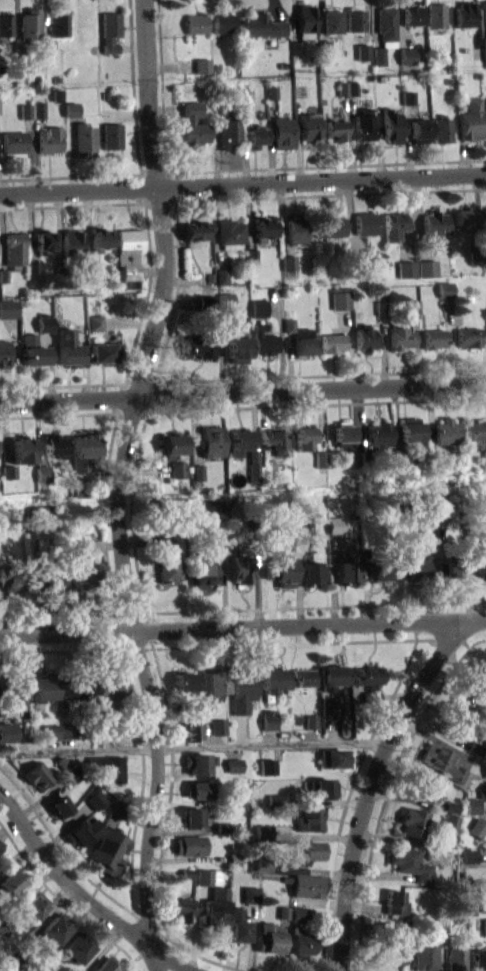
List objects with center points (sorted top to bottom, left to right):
building: (412, 14)
building: (437, 14)
building: (465, 14)
building: (355, 19)
building: (305, 20)
building: (223, 22)
building: (333, 22)
building: (6, 23)
building: (195, 23)
building: (30, 24)
building: (59, 24)
building: (261, 25)
building: (387, 26)
building: (484, 26)
building: (110, 30)
building: (325, 46)
building: (296, 47)
building: (363, 51)
building: (379, 55)
building: (407, 55)
building: (448, 56)
building: (201, 64)
building: (232, 70)
building: (202, 71)
building: (25, 74)
building: (25, 81)
road: (161, 85)
building: (352, 87)
building: (343, 88)
building: (271, 91)
building: (57, 94)
building: (347, 94)
building: (104, 95)
building: (407, 96)
road: (133, 100)
building: (408, 104)
building: (37, 108)
building: (70, 108)
building: (24, 110)
building: (471, 119)
building: (364, 124)
building: (193, 125)
building: (392, 125)
building: (309, 127)
building: (442, 128)
building: (336, 129)
building: (419, 130)
building: (282, 132)
building: (229, 134)
building: (111, 135)
building: (254, 137)
building: (82, 138)
building: (49, 139)
building: (12, 141)
road: (313, 166)
road: (70, 175)
road: (243, 182)
road: (168, 185)
road: (322, 194)
road: (151, 201)
road: (72, 204)
building: (464, 216)
building: (366, 222)
building: (434, 222)
building: (329, 225)
building: (394, 225)
building: (263, 227)
building: (195, 228)
building: (296, 230)
building: (230, 233)
building: (100, 238)
building: (43, 240)
building: (71, 242)
building: (14, 249)
building: (129, 255)
building: (252, 255)
building: (477, 256)
building: (358, 261)
building: (288, 262)
building: (91, 264)
building: (33, 266)
building: (427, 267)
building: (406, 269)
building: (61, 272)
building: (3, 274)
building: (209, 276)
building: (221, 276)
building: (445, 289)
road: (148, 292)
road: (176, 292)
building: (225, 300)
building: (340, 300)
building: (205, 301)
building: (413, 306)
building: (258, 307)
building: (381, 307)
building: (8, 308)
building: (412, 313)
building: (45, 322)
building: (95, 322)
building: (289, 324)
building: (400, 337)
building: (467, 337)
building: (365, 338)
building: (434, 338)
building: (264, 339)
building: (303, 341)
building: (332, 342)
building: (235, 344)
building: (200, 345)
building: (67, 346)
building: (33, 350)
building: (104, 350)
building: (3, 353)
road: (124, 384)
road: (62, 385)
road: (243, 392)
road: (147, 399)
building: (410, 428)
building: (446, 430)
building: (474, 430)
building: (342, 433)
building: (378, 435)
building: (305, 438)
building: (272, 440)
building: (211, 441)
building: (53, 444)
building: (172, 444)
building: (22, 449)
building: (84, 449)
road: (107, 454)
building: (398, 454)
building: (432, 456)
building: (484, 456)
building: (364, 457)
building: (320, 458)
building: (351, 458)
building: (484, 464)
building: (177, 469)
building: (253, 469)
building: (8, 471)
building: (197, 471)
building: (42, 472)
building: (8, 478)
road: (118, 485)
road: (132, 496)
building: (442, 508)
building: (216, 512)
building: (335, 523)
building: (303, 526)
building: (75, 545)
building: (75, 552)
building: (166, 555)
building: (479, 560)
building: (411, 563)
building: (241, 567)
building: (451, 567)
building: (381, 568)
building: (202, 570)
building: (280, 570)
building: (313, 570)
building: (348, 570)
building: (12, 577)
building: (49, 579)
building: (77, 579)
road: (64, 614)
road: (147, 622)
road: (243, 624)
road: (284, 643)
road: (76, 650)
building: (304, 676)
building: (331, 676)
building: (215, 678)
building: (273, 680)
building: (370, 680)
building: (183, 681)
building: (478, 684)
building: (16, 687)
building: (73, 687)
building: (42, 688)
building: (105, 688)
building: (242, 689)
building: (331, 707)
building: (268, 719)
building: (453, 719)
building: (311, 721)
building: (218, 726)
building: (189, 727)
building: (311, 727)
building: (69, 730)
building: (6, 731)
building: (51, 731)
building: (69, 737)
road: (193, 747)
building: (476, 747)
building: (333, 758)
building: (268, 759)
building: (441, 761)
building: (62, 762)
building: (196, 763)
building: (234, 764)
building: (106, 767)
building: (74, 772)
building: (267, 772)
building: (36, 775)
building: (485, 776)
road: (142, 780)
road: (370, 782)
building: (321, 787)
road: (352, 787)
building: (422, 787)
building: (196, 789)
road: (387, 789)
building: (482, 792)
road: (169, 793)
building: (235, 798)
building: (95, 799)
building: (274, 799)
building: (57, 806)
building: (95, 806)
building: (450, 806)
building: (472, 806)
building: (117, 807)
building: (118, 815)
building: (191, 816)
building: (308, 819)
building: (448, 821)
building: (413, 822)
building: (222, 826)
building: (477, 826)
building: (81, 831)
building: (263, 831)
building: (1, 843)
building: (188, 844)
building: (1, 849)
building: (106, 850)
building: (307, 850)
road: (65, 852)
building: (467, 855)
building: (234, 856)
building: (408, 862)
building: (468, 862)
building: (261, 863)
building: (186, 873)
building: (206, 876)
building: (10, 880)
building: (304, 884)
building: (249, 894)
road: (84, 895)
building: (394, 902)
road: (63, 903)
building: (33, 904)
building: (480, 906)
building: (179, 908)
building: (213, 909)
building: (281, 912)
building: (299, 914)
building: (236, 925)
building: (394, 925)
building: (4, 926)
building: (55, 927)
building: (484, 927)
building: (441, 931)
road: (158, 934)
building: (268, 937)
building: (298, 941)
building: (75, 947)
building: (391, 952)
building: (425, 954)
building: (456, 957)
road: (205, 958)
building: (479, 959)
building: (30, 965)
building: (106, 965)

